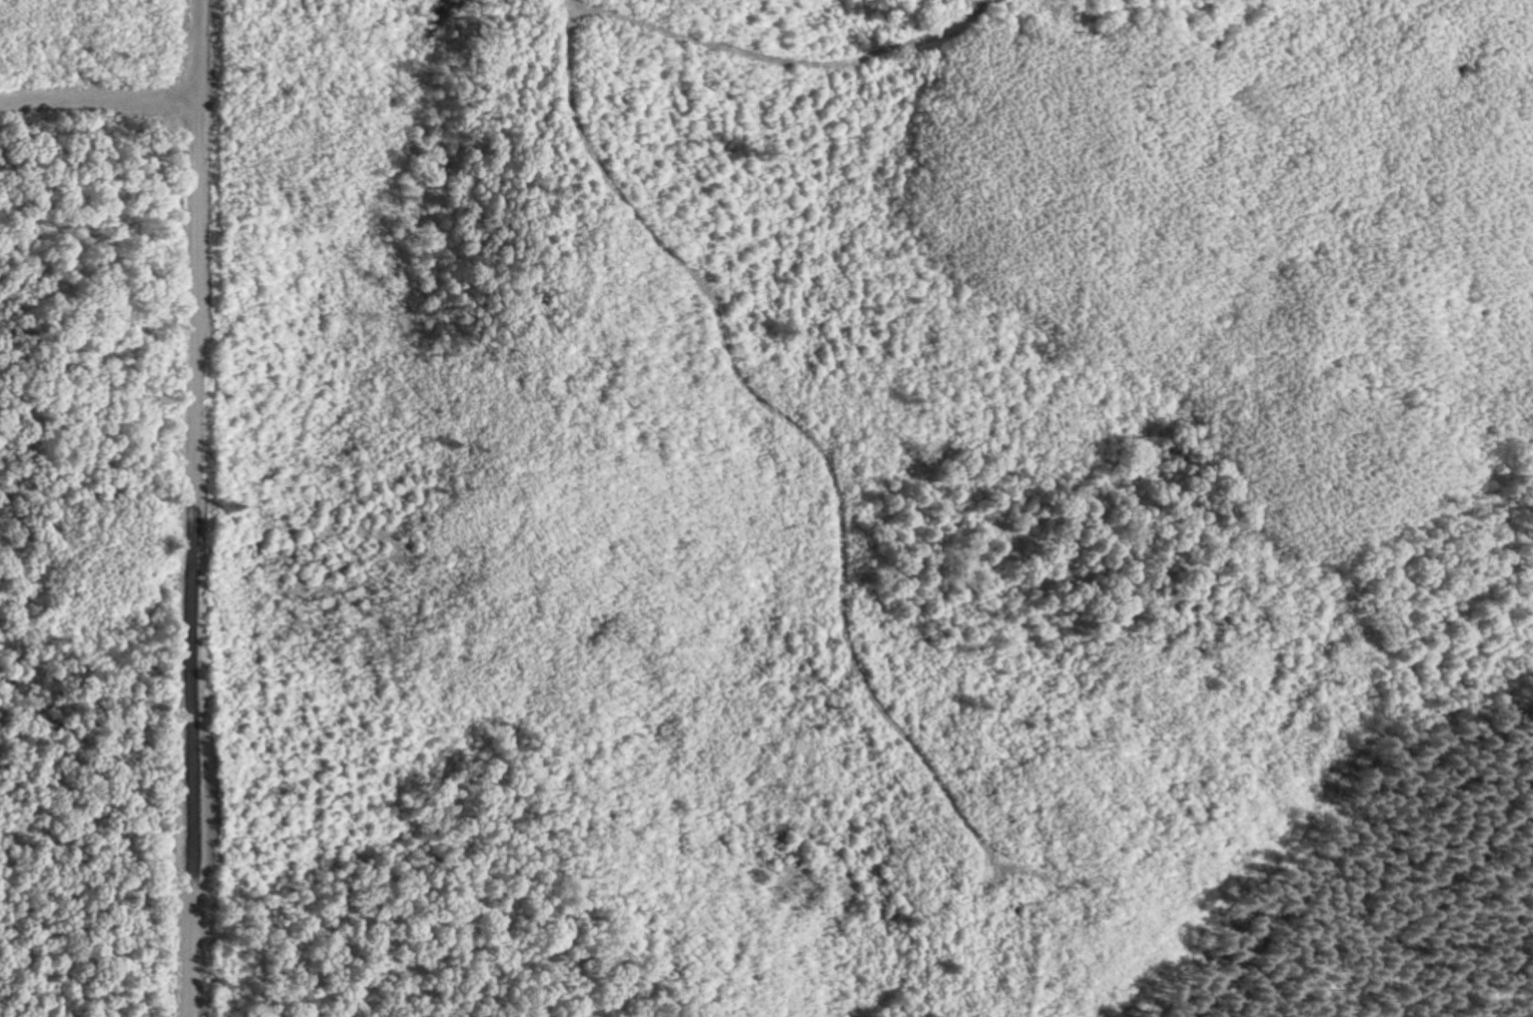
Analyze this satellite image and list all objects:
road: (98, 97)
road: (193, 508)

